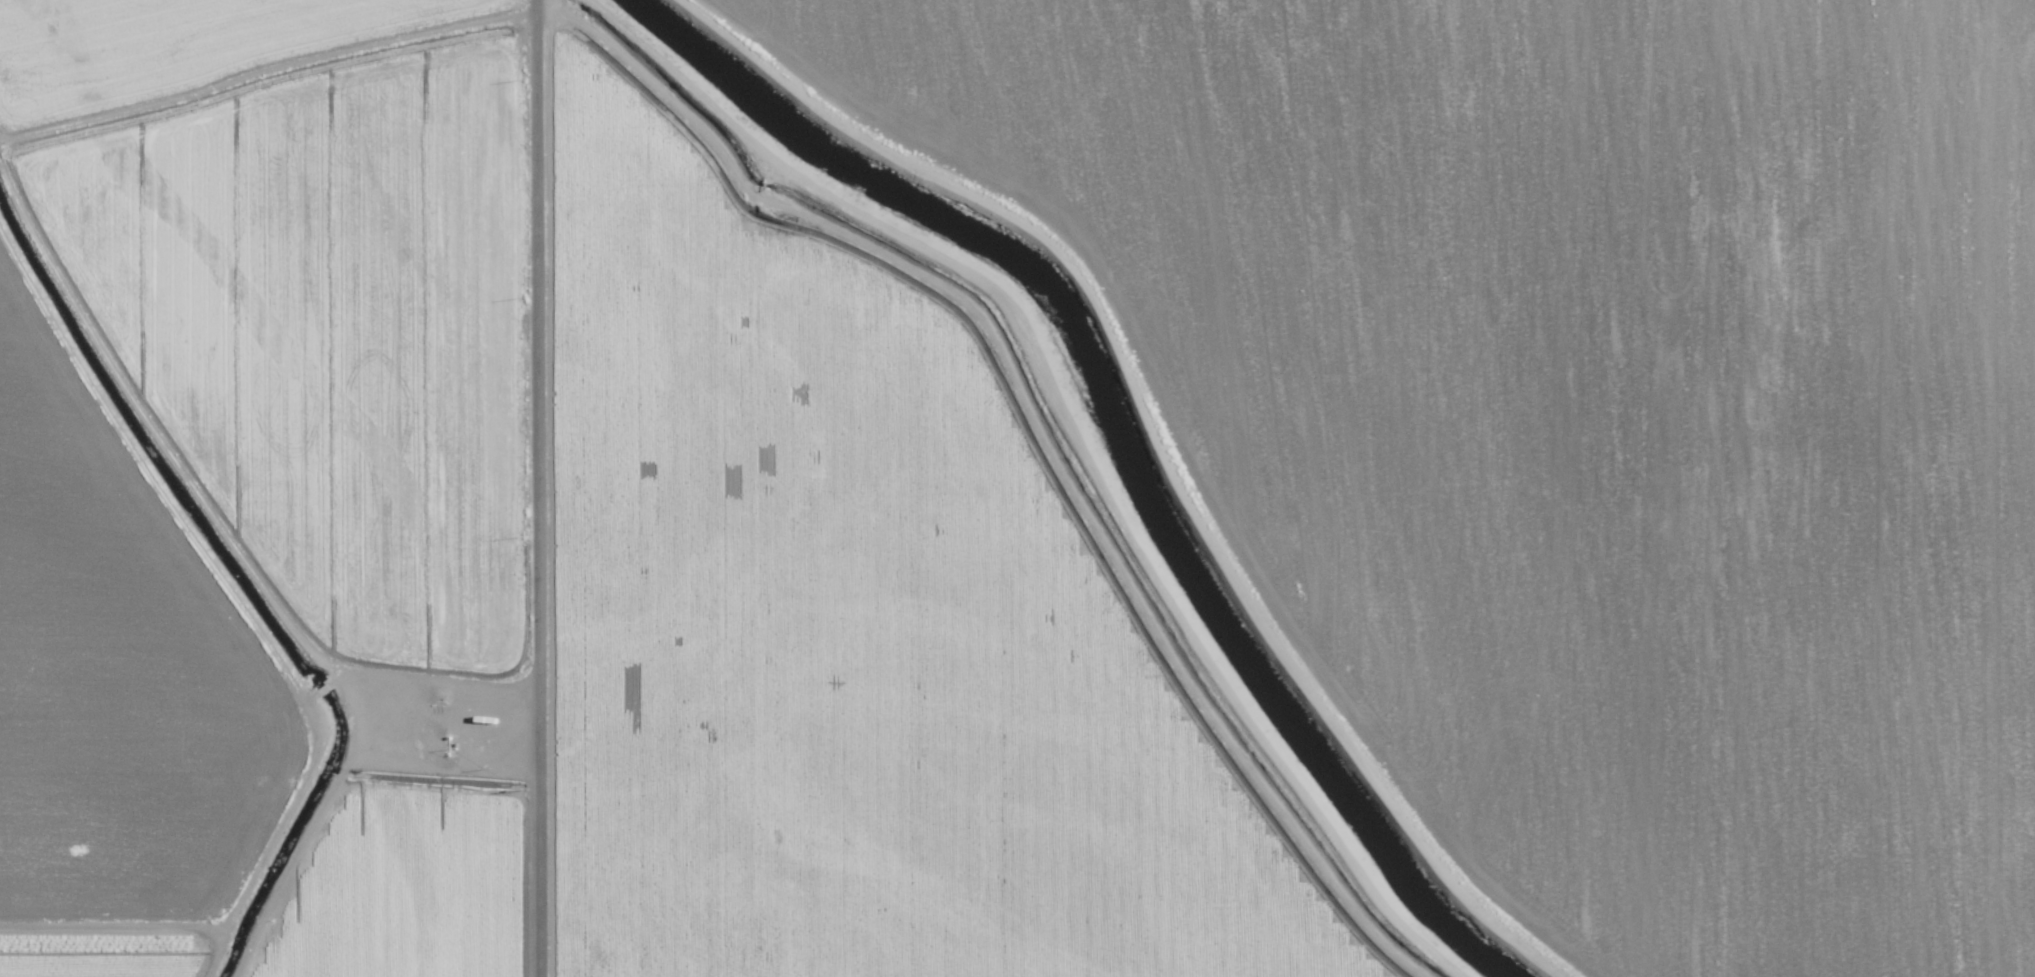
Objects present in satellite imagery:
road: (541, 488)

